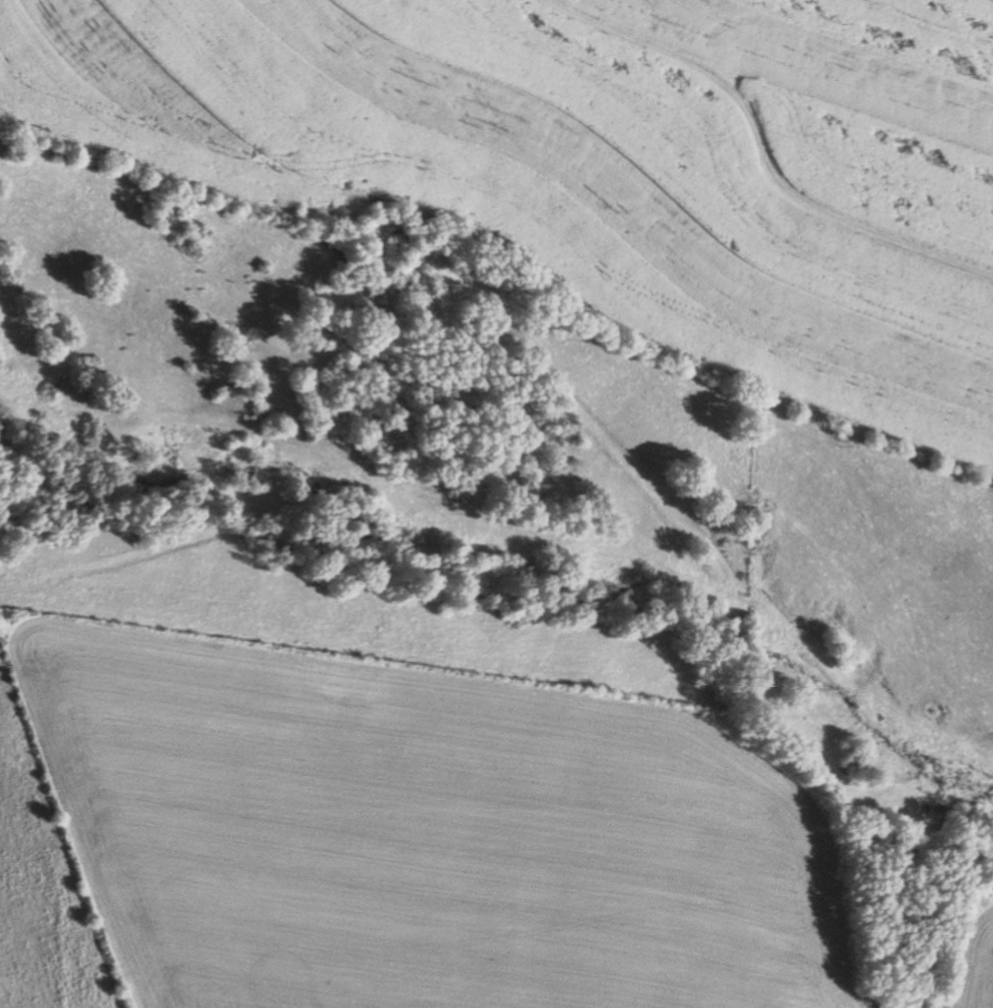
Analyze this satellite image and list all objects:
building: (405, 282)

